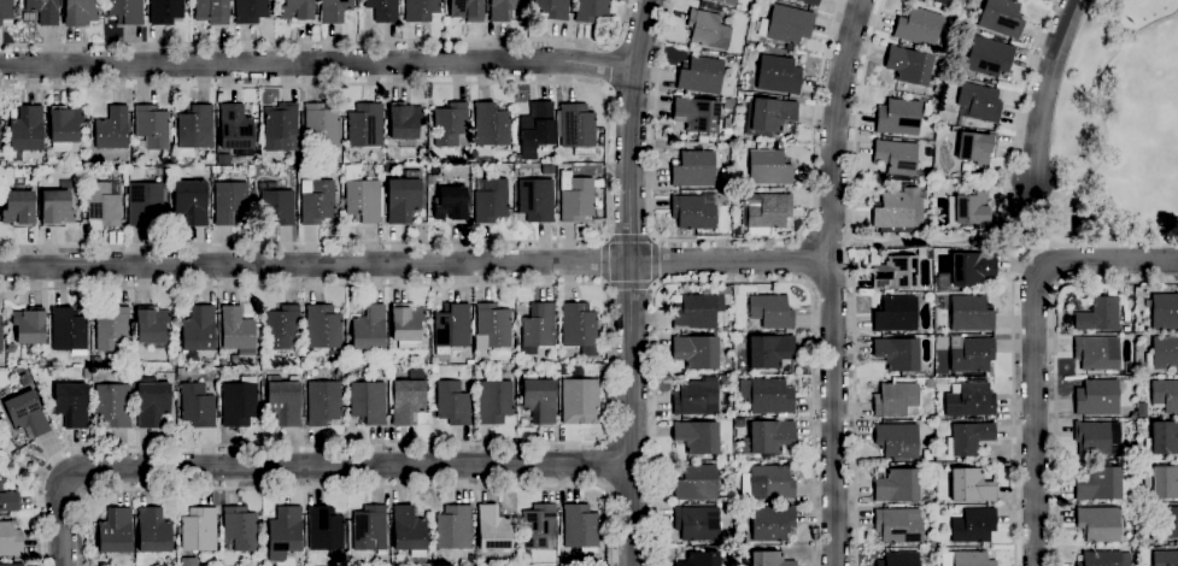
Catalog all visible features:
building: (728, 1)
building: (811, 1)
building: (943, 1)
building: (502, 8)
building: (552, 8)
building: (6, 10)
building: (43, 10)
building: (333, 10)
building: (383, 10)
building: (421, 10)
building: (467, 10)
building: (591, 10)
building: (127, 11)
building: (165, 11)
building: (212, 11)
building: (251, 11)
building: (298, 11)
building: (80, 12)
building: (1002, 17)
building: (786, 24)
building: (919, 26)
building: (707, 29)
road: (327, 42)
road: (615, 43)
building: (989, 55)
road: (318, 61)
building: (909, 65)
road: (614, 67)
building: (776, 73)
building: (701, 75)
road: (1103, 83)
road: (1047, 87)
road: (609, 89)
building: (980, 101)
building: (697, 113)
building: (768, 116)
building: (898, 117)
building: (404, 122)
building: (450, 124)
building: (491, 124)
building: (538, 124)
road: (1018, 124)
building: (152, 125)
building: (321, 125)
building: (364, 125)
building: (576, 125)
road: (836, 125)
building: (235, 126)
building: (281, 126)
building: (112, 128)
building: (27, 129)
building: (65, 129)
building: (195, 129)
park: (1118, 129)
building: (975, 148)
building: (334, 157)
building: (295, 159)
building: (899, 160)
building: (86, 161)
road: (608, 161)
building: (696, 167)
building: (768, 167)
building: (84, 169)
building: (387, 169)
building: (524, 171)
road: (1069, 191)
building: (576, 196)
building: (403, 197)
building: (491, 199)
building: (535, 199)
building: (229, 200)
building: (363, 200)
building: (192, 201)
building: (318, 201)
building: (105, 204)
building: (145, 204)
building: (276, 204)
building: (451, 204)
building: (17, 207)
building: (57, 207)
building: (973, 207)
building: (898, 208)
building: (693, 211)
building: (766, 211)
road: (1032, 225)
road: (606, 236)
road: (655, 237)
road: (631, 238)
road: (728, 240)
road: (933, 240)
road: (605, 260)
road: (656, 261)
road: (415, 264)
building: (972, 267)
building: (896, 272)
road: (631, 281)
road: (733, 281)
road: (851, 281)
building: (943, 281)
road: (655, 284)
road: (605, 285)
road: (631, 285)
building: (1165, 309)
building: (701, 311)
building: (770, 311)
building: (968, 312)
building: (896, 313)
building: (1098, 314)
building: (405, 322)
building: (151, 324)
building: (29, 325)
building: (578, 325)
building: (111, 326)
building: (282, 326)
building: (322, 326)
building: (452, 326)
building: (492, 326)
building: (369, 328)
building: (199, 329)
building: (538, 329)
building: (69, 330)
building: (238, 330)
road: (1013, 331)
building: (1, 334)
road: (1035, 348)
building: (768, 350)
building: (696, 352)
building: (897, 353)
building: (971, 353)
building: (1097, 353)
building: (1162, 353)
building: (234, 358)
building: (41, 360)
building: (171, 361)
building: (222, 361)
road: (1054, 365)
building: (434, 367)
building: (298, 369)
building: (181, 370)
building: (350, 373)
building: (122, 375)
building: (24, 378)
building: (726, 379)
building: (930, 383)
building: (1165, 394)
road: (608, 395)
building: (767, 395)
building: (539, 396)
building: (696, 396)
building: (1097, 397)
building: (410, 399)
building: (896, 399)
building: (969, 399)
building: (579, 400)
building: (112, 401)
building: (152, 401)
building: (239, 401)
building: (285, 401)
building: (323, 401)
building: (368, 401)
building: (493, 401)
building: (452, 402)
building: (72, 403)
building: (197, 405)
road: (834, 409)
building: (1141, 409)
building: (24, 412)
building: (738, 421)
building: (697, 436)
building: (768, 436)
building: (968, 437)
building: (1091, 437)
building: (1162, 438)
building: (897, 440)
road: (605, 441)
park: (17, 458)
road: (19, 464)
road: (610, 465)
road: (304, 466)
building: (1161, 480)
building: (697, 482)
building: (767, 483)
building: (1098, 483)
road: (58, 484)
building: (971, 484)
road: (347, 485)
building: (897, 485)
road: (610, 489)
road: (82, 493)
building: (7, 497)
building: (953, 509)
building: (698, 521)
building: (772, 521)
building: (1098, 523)
building: (1170, 523)
building: (973, 524)
building: (898, 525)
building: (453, 526)
building: (580, 526)
building: (240, 527)
building: (369, 527)
building: (539, 527)
building: (286, 530)
building: (326, 530)
building: (409, 530)
building: (493, 530)
building: (116, 531)
building: (153, 531)
building: (198, 531)
building: (10, 540)
building: (932, 542)
building: (966, 558)
building: (1100, 558)
building: (1165, 558)
building: (699, 559)
building: (769, 559)
building: (899, 559)
building: (12, 564)

